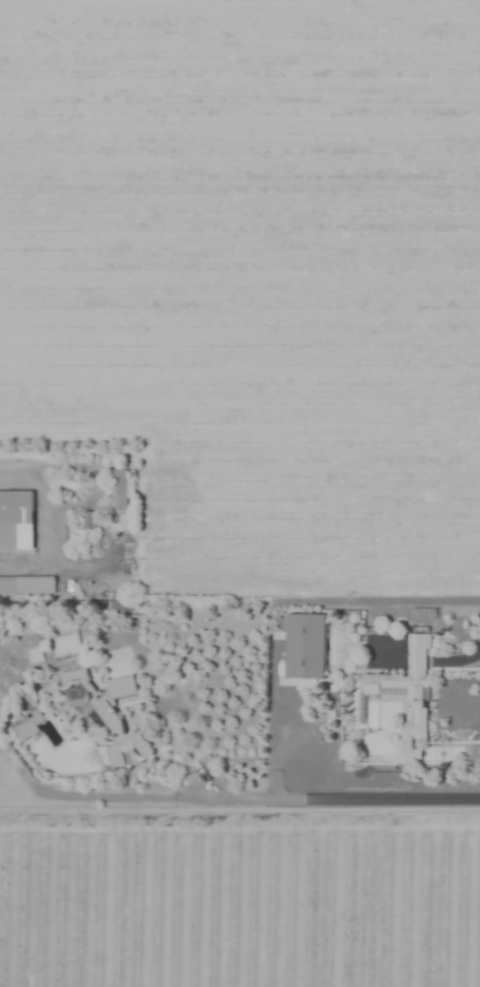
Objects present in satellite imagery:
crop: (256, 265)
building: (118, 489)
building: (88, 520)
building: (16, 521)
building: (27, 585)
road: (461, 657)
building: (407, 690)
road: (466, 702)
building: (104, 713)
road: (275, 746)
road: (239, 795)
crop: (240, 890)

